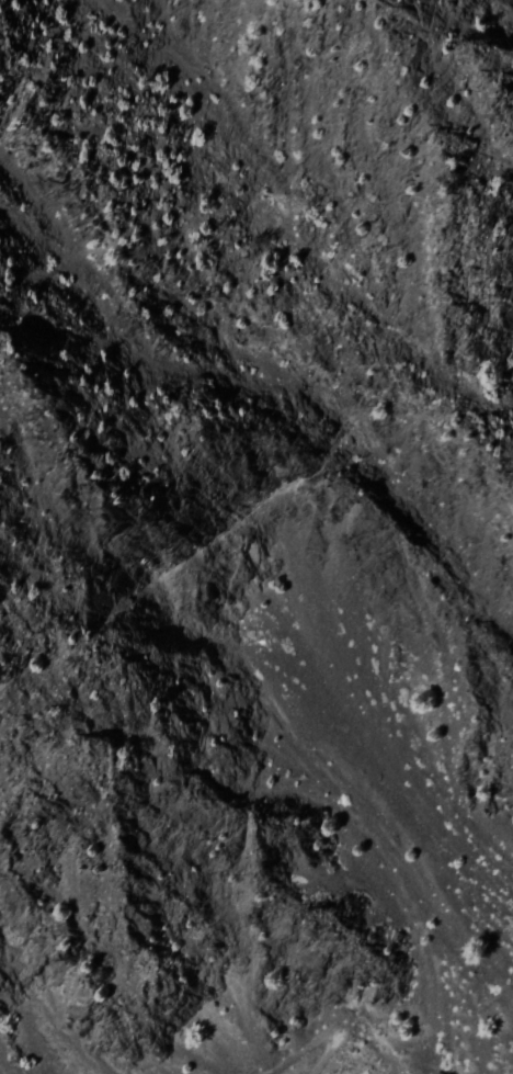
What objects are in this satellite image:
road: (314, 1039)

